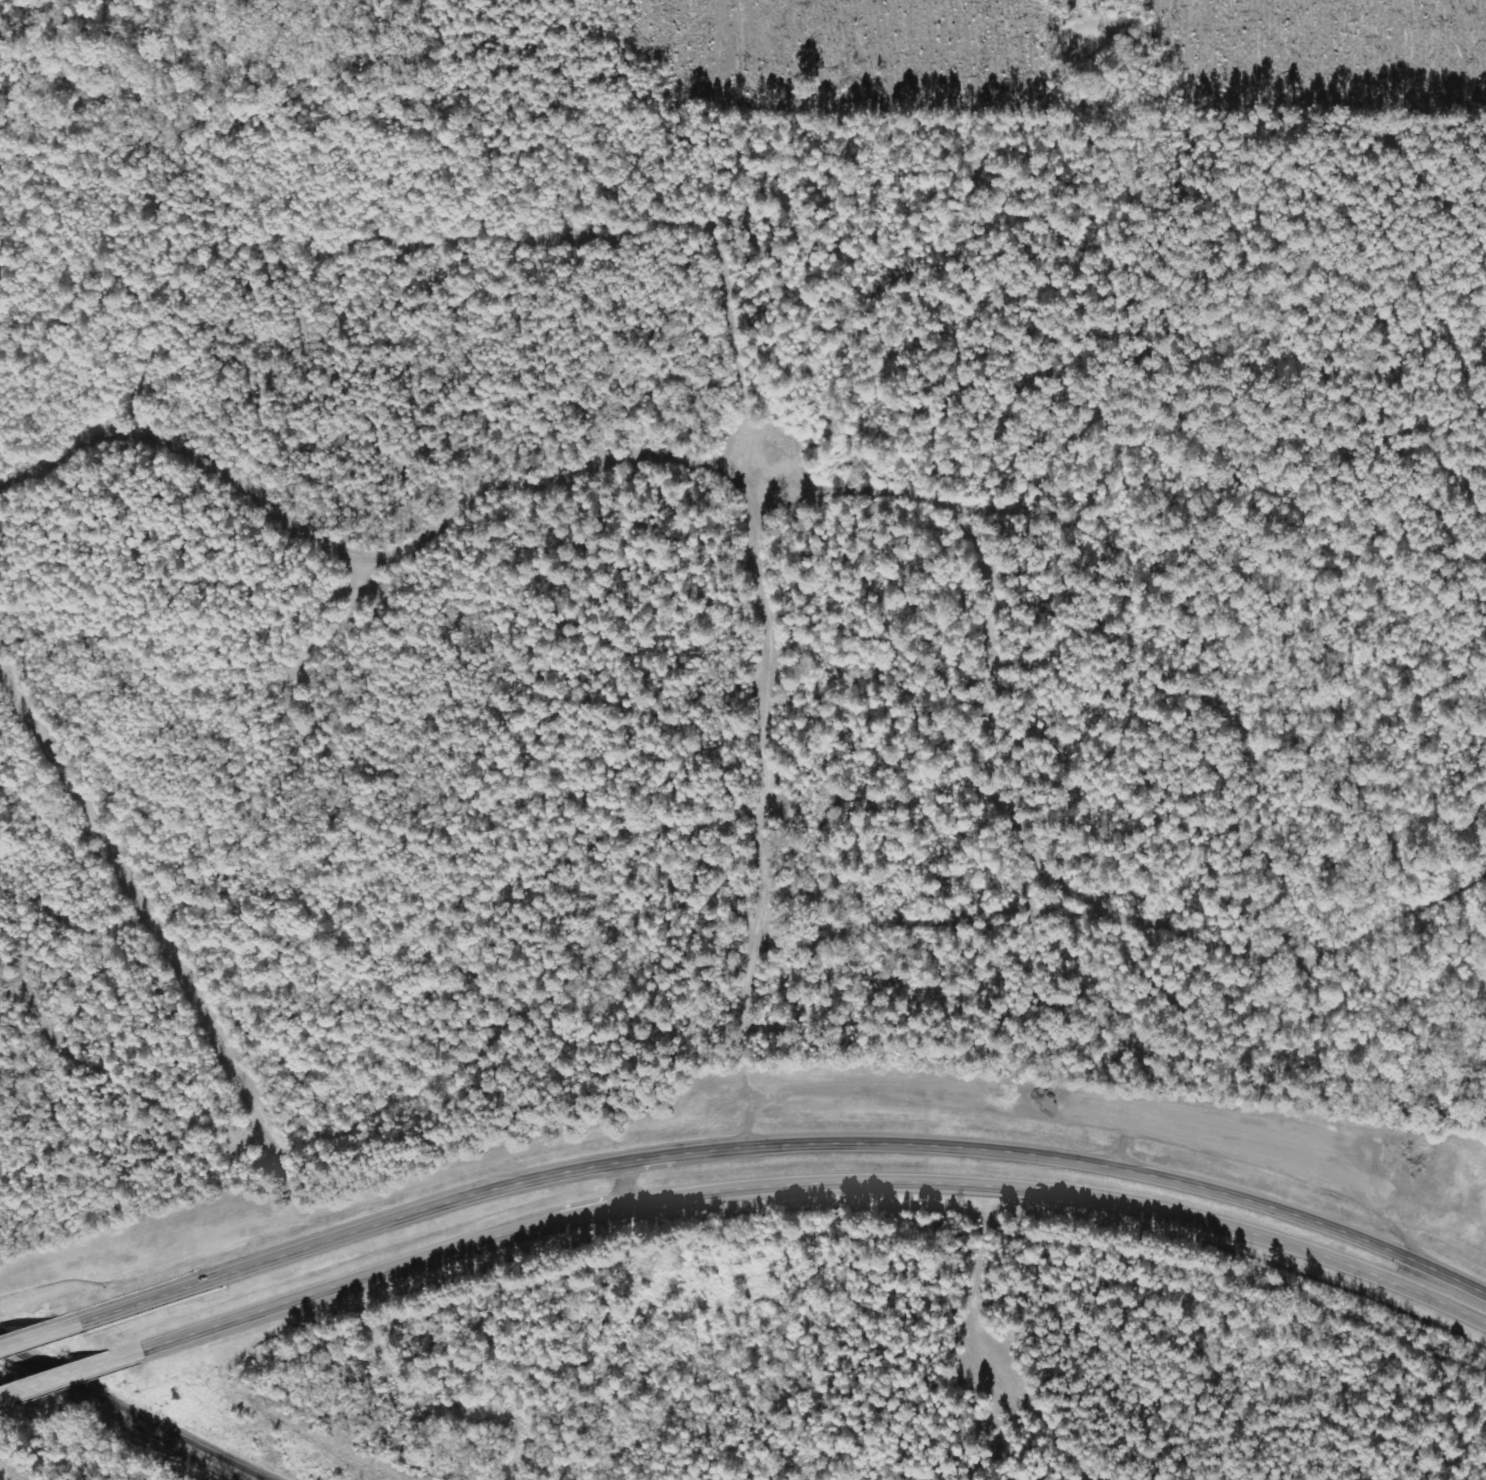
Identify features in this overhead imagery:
road: (778, 1150)
road: (803, 1183)
road: (33, 1332)
road: (62, 1371)
road: (1, 1392)
railway: (141, 1409)

